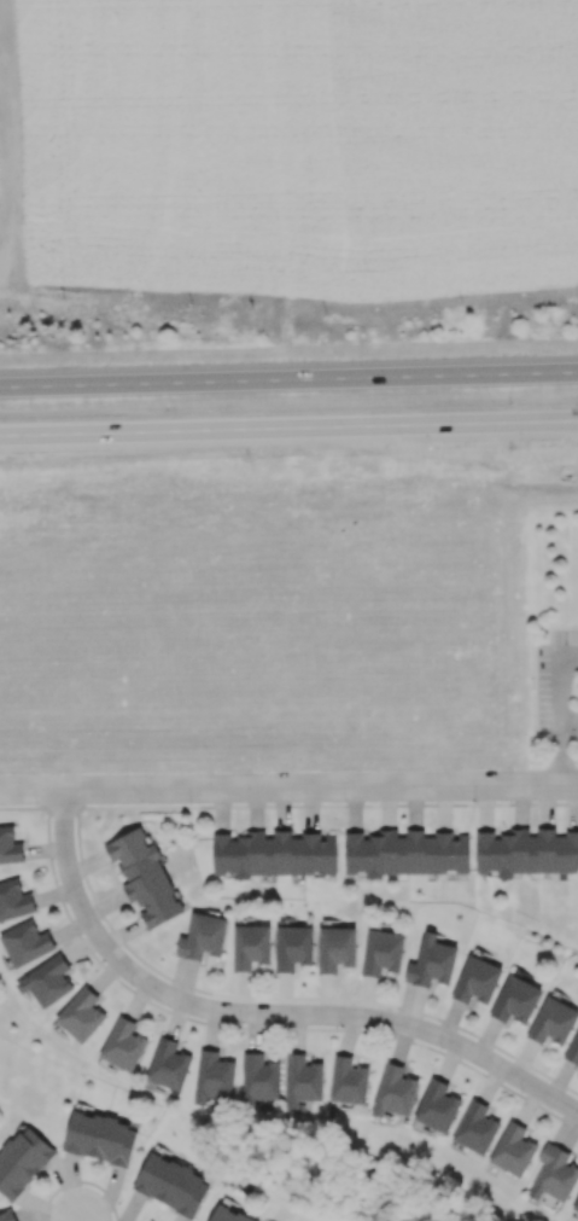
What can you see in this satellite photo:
road: (7, 145)
road: (288, 378)
road: (288, 428)
crop: (263, 620)
road: (562, 719)
road: (570, 726)
road: (553, 760)
road: (322, 787)
road: (34, 792)
road: (288, 806)
building: (10, 845)
building: (527, 850)
building: (405, 851)
building: (274, 853)
building: (144, 876)
building: (14, 900)
building: (203, 936)
building: (25, 942)
building: (250, 946)
building: (292, 947)
building: (335, 948)
building: (381, 952)
building: (431, 961)
building: (475, 979)
building: (46, 981)
building: (515, 999)
building: (81, 1014)
road: (257, 1017)
building: (553, 1021)
building: (123, 1043)
building: (572, 1050)
building: (168, 1064)
building: (212, 1076)
building: (259, 1077)
building: (302, 1080)
building: (348, 1080)
building: (393, 1091)
building: (437, 1105)
building: (475, 1127)
building: (100, 1138)
building: (513, 1149)
building: (22, 1161)
building: (554, 1174)
building: (171, 1184)
building: (576, 1203)
building: (7, 1215)
building: (226, 1215)

